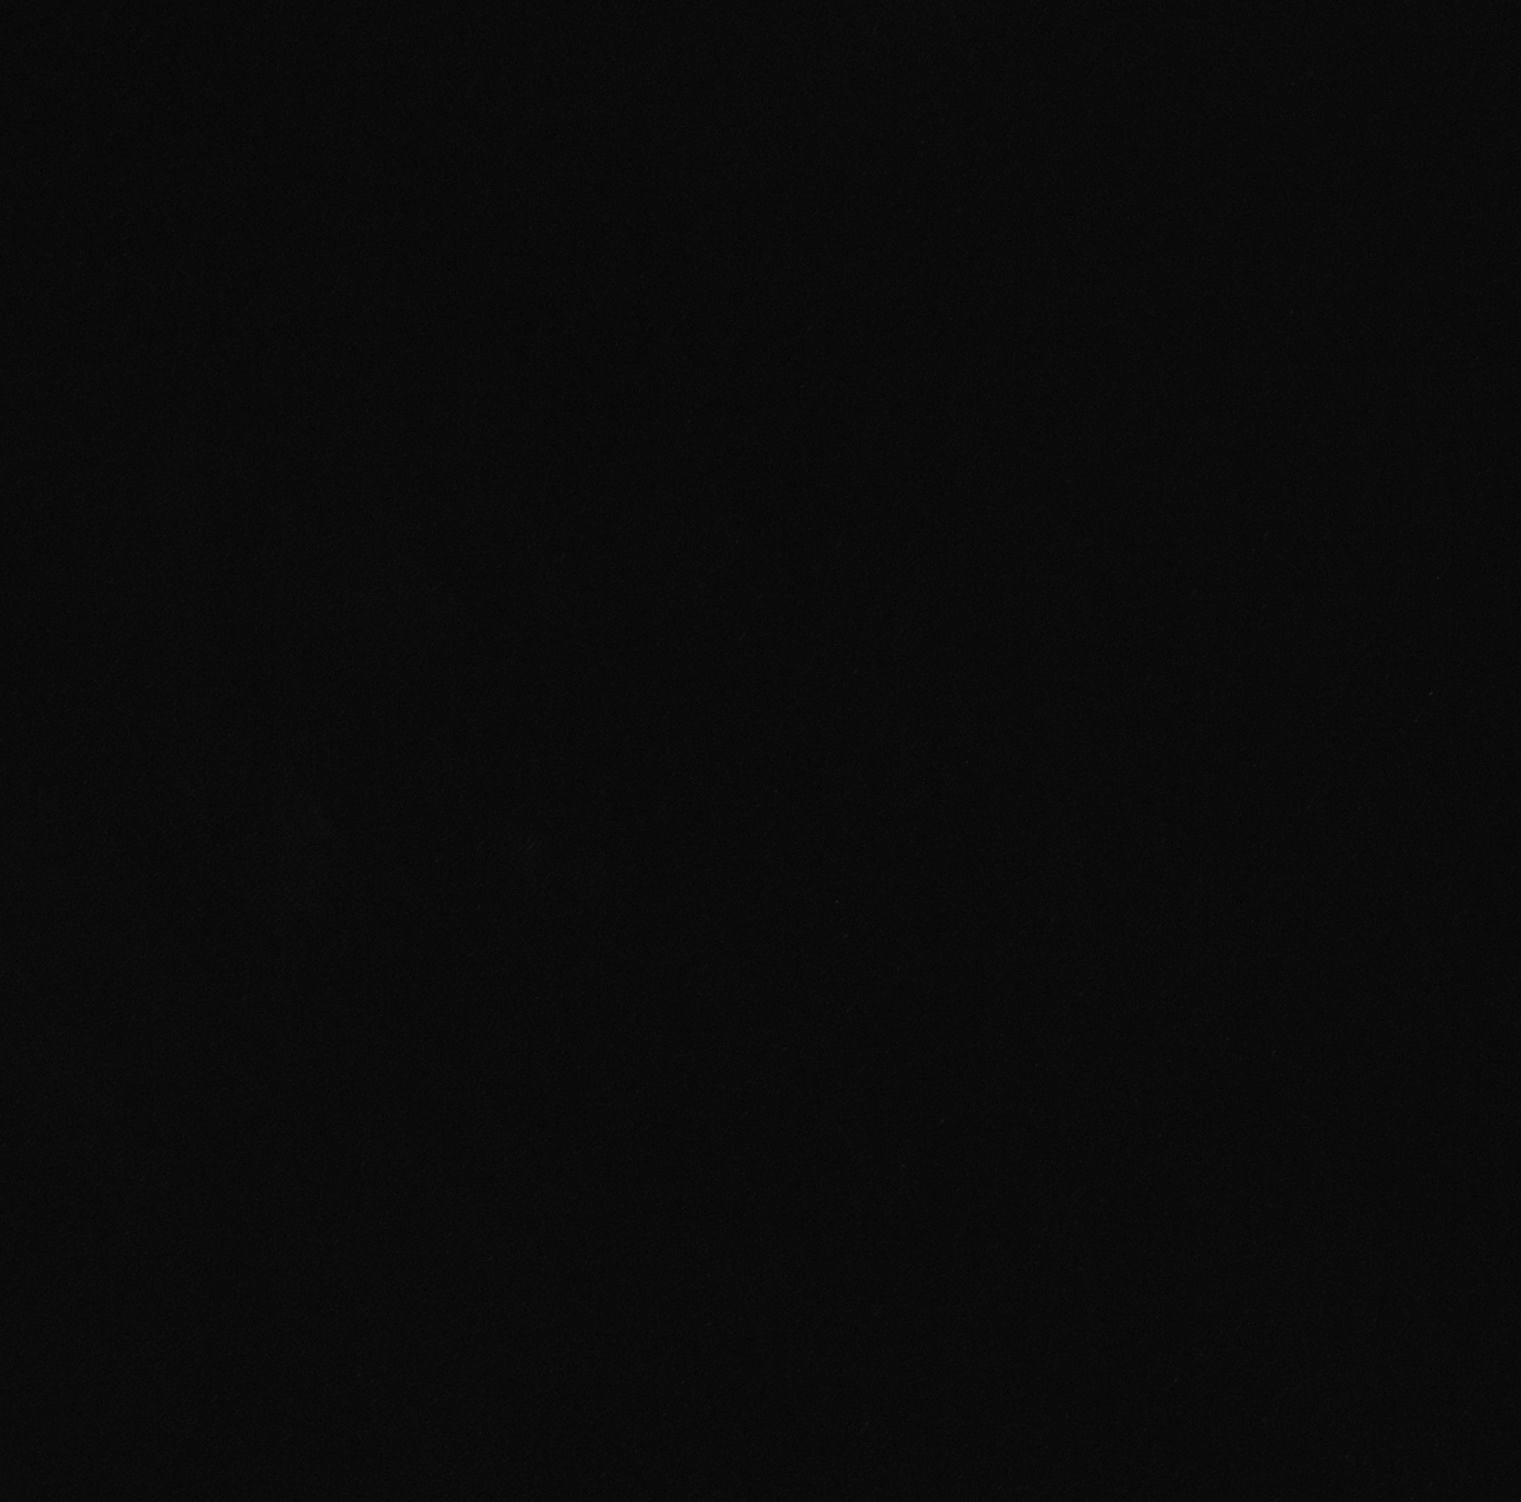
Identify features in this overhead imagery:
river: (1381, 73)

